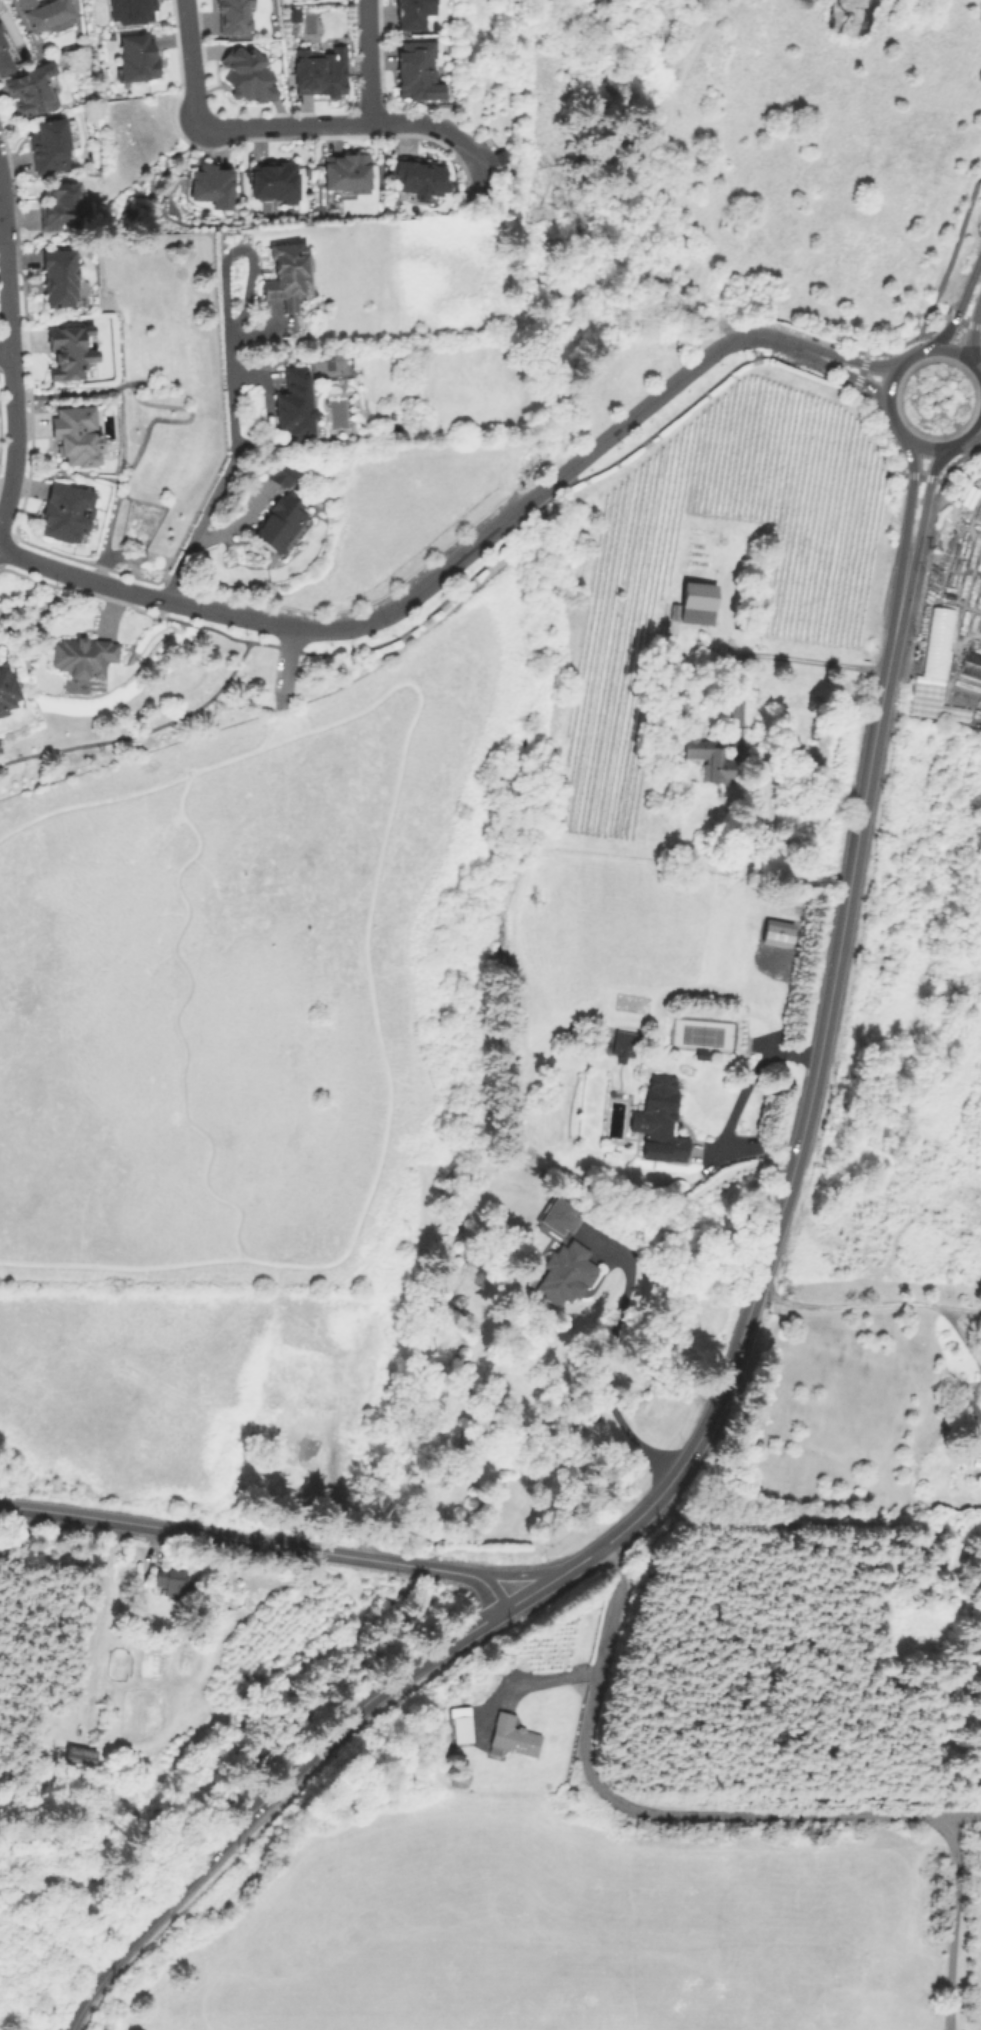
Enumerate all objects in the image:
building: (132, 11)
building: (238, 12)
building: (419, 13)
building: (45, 14)
building: (0, 30)
building: (139, 57)
building: (4, 59)
road: (370, 61)
building: (423, 71)
building: (324, 72)
building: (245, 75)
building: (31, 93)
road: (223, 130)
road: (453, 139)
building: (50, 147)
building: (503, 160)
building: (348, 173)
building: (421, 179)
building: (277, 183)
building: (214, 186)
building: (63, 208)
road: (950, 250)
road: (6, 263)
building: (289, 278)
building: (61, 282)
road: (979, 296)
road: (958, 302)
road: (960, 322)
road: (969, 324)
road: (906, 339)
road: (5, 349)
building: (72, 352)
road: (853, 360)
road: (858, 371)
road: (847, 373)
road: (82, 392)
road: (883, 396)
building: (294, 405)
road: (870, 411)
road: (974, 432)
road: (11, 436)
building: (78, 440)
road: (139, 443)
road: (229, 465)
road: (945, 465)
building: (283, 474)
road: (917, 476)
road: (555, 492)
road: (905, 502)
road: (921, 508)
building: (69, 517)
road: (501, 520)
building: (278, 523)
road: (83, 576)
building: (698, 604)
road: (136, 609)
road: (107, 611)
building: (675, 612)
road: (217, 632)
building: (935, 646)
road: (284, 647)
building: (83, 657)
road: (810, 661)
building: (970, 665)
road: (283, 668)
building: (7, 696)
road: (268, 729)
road: (141, 732)
building: (709, 759)
road: (129, 793)
building: (774, 934)
park: (701, 1035)
building: (624, 1046)
road: (380, 1053)
road: (746, 1081)
building: (657, 1122)
building: (556, 1218)
building: (563, 1275)
road: (865, 1305)
building: (377, 1332)
road: (960, 1336)
road: (604, 1362)
road: (699, 1431)
building: (314, 1447)
road: (813, 1524)
road: (260, 1542)
building: (976, 1572)
road: (522, 1574)
building: (173, 1583)
road: (539, 1685)
building: (463, 1730)
building: (514, 1737)
building: (78, 1755)
road: (638, 1810)
road: (962, 1817)
road: (957, 1922)

